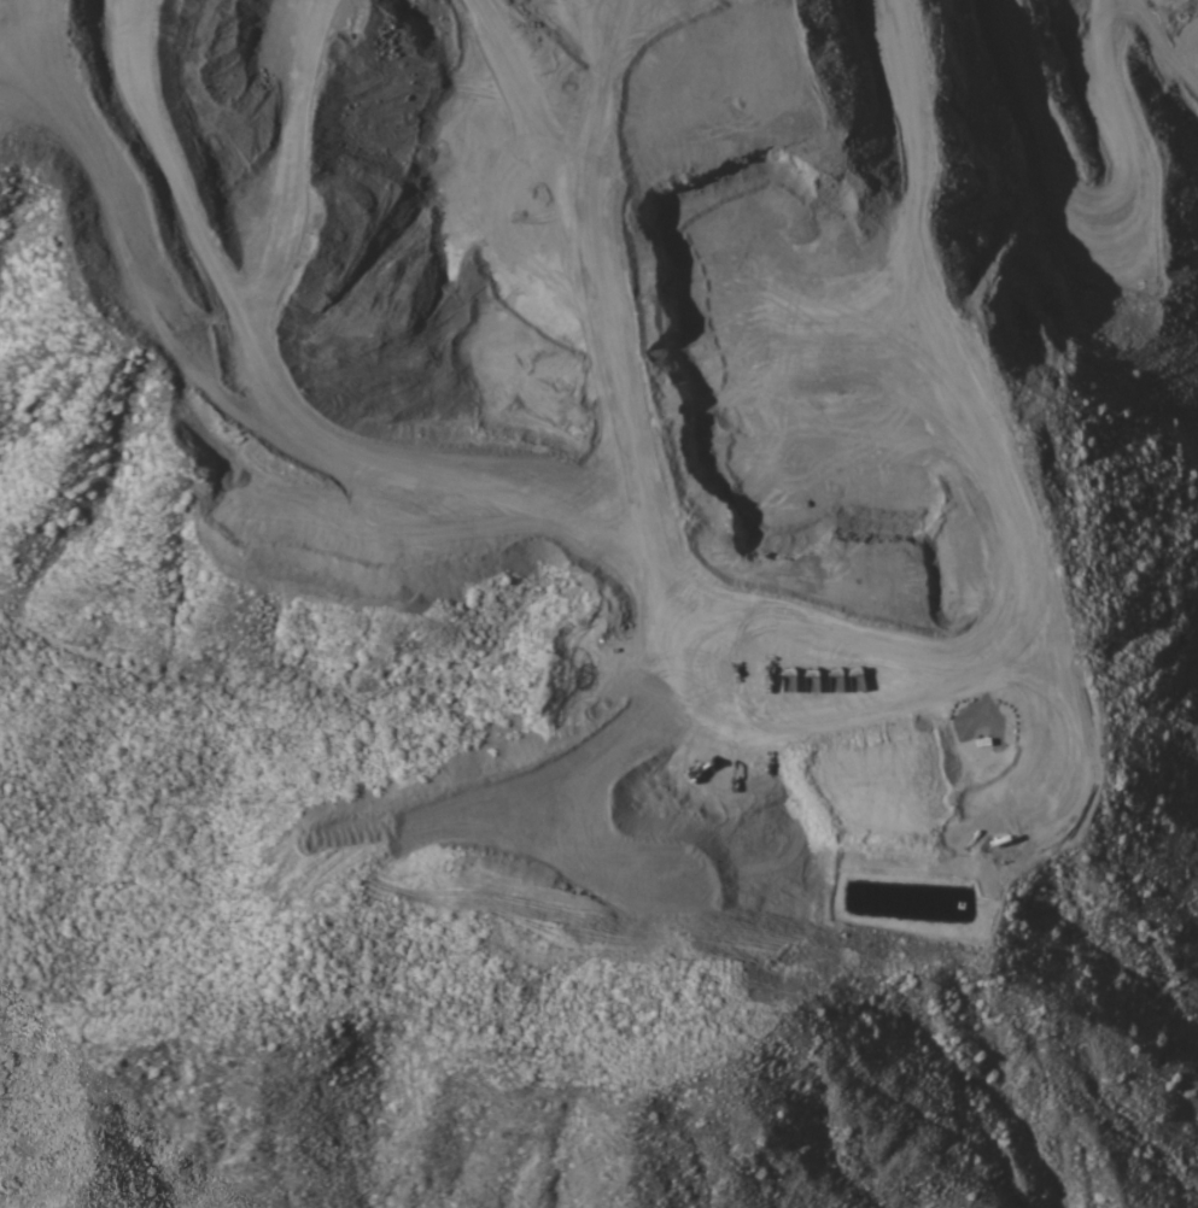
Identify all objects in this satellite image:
road: (1161, 40)
road: (935, 175)
road: (893, 244)
quarry: (787, 435)
road: (819, 731)

